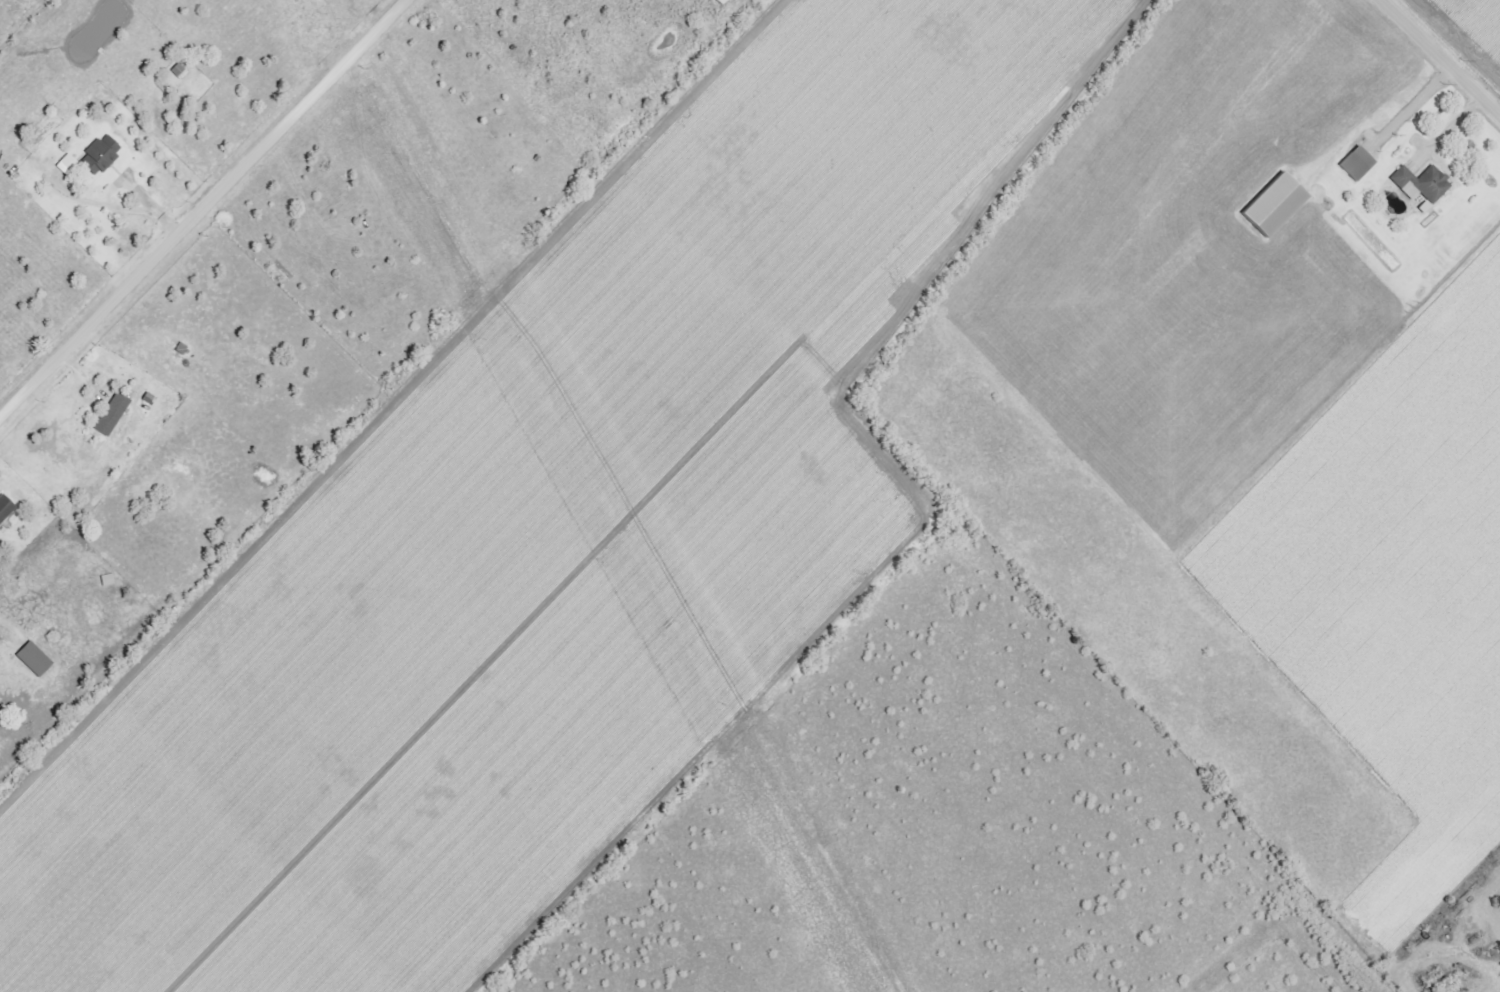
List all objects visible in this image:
road: (1443, 55)
building: (179, 71)
road: (1447, 130)
building: (99, 155)
building: (64, 162)
building: (1354, 167)
building: (1421, 186)
building: (1273, 204)
road: (134, 207)
road: (203, 208)
building: (111, 414)
building: (4, 507)
road: (9, 627)
building: (32, 658)

